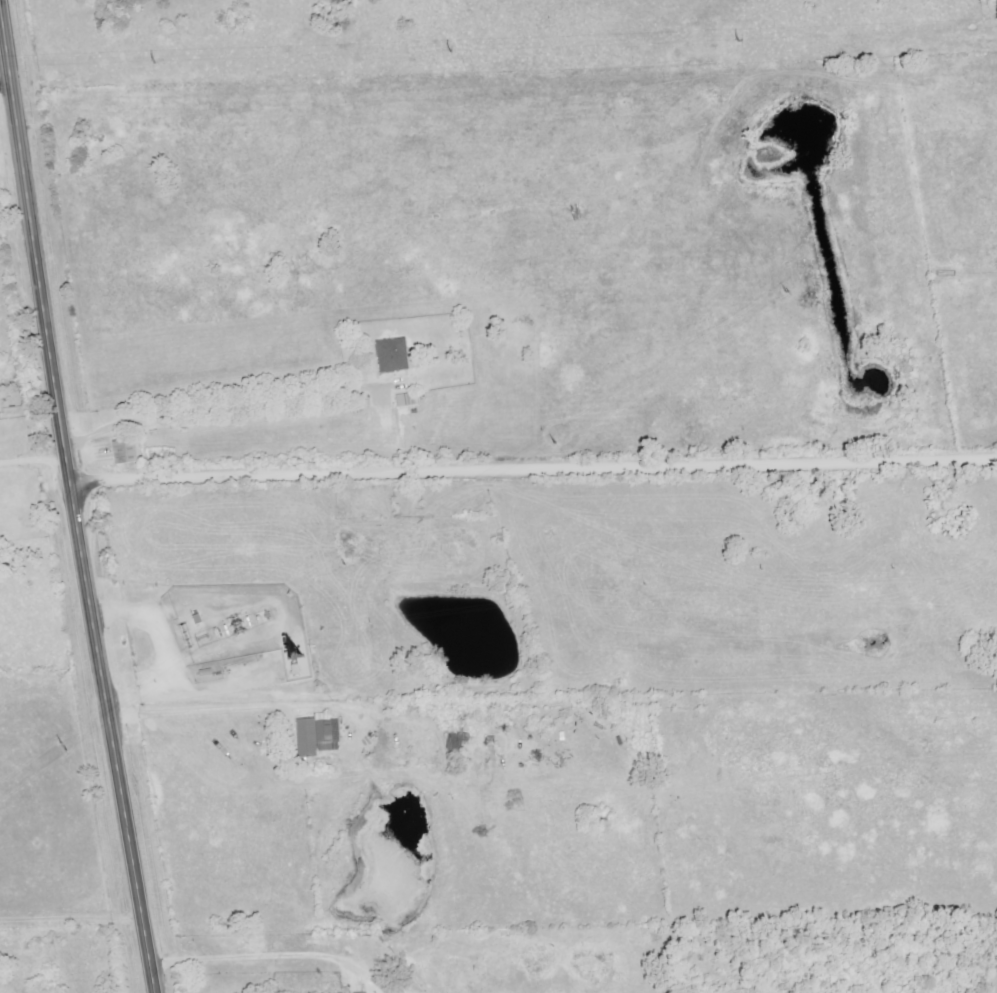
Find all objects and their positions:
power tower: (733, 40)
power tower: (441, 50)
power tower: (143, 63)
power tower: (784, 291)
building: (391, 355)
power tower: (552, 443)
road: (532, 469)
road: (72, 502)
power tower: (342, 565)
power substation: (238, 623)
building: (316, 736)
power tower: (64, 746)
building: (366, 992)

